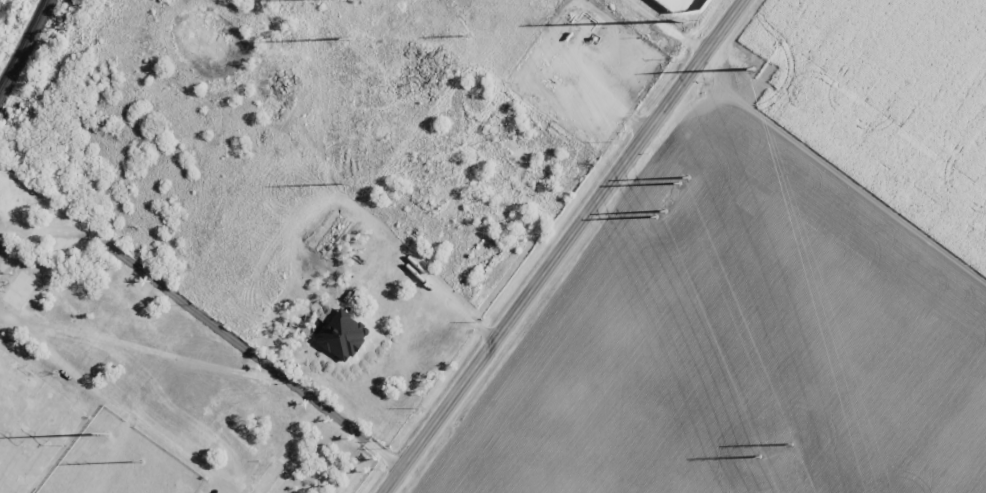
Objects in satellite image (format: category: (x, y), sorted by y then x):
power substation: (679, 8)
power tower: (685, 20)
power tower: (468, 35)
power tower: (352, 38)
railway: (23, 42)
power tower: (753, 69)
road: (661, 112)
power tower: (683, 181)
power tower: (350, 183)
power tower: (658, 214)
crop: (775, 284)
building: (343, 335)
road: (483, 359)
power tower: (110, 433)
power tower: (789, 443)
power tower: (756, 457)
road: (167, 459)
power tower: (142, 462)
road: (359, 480)

